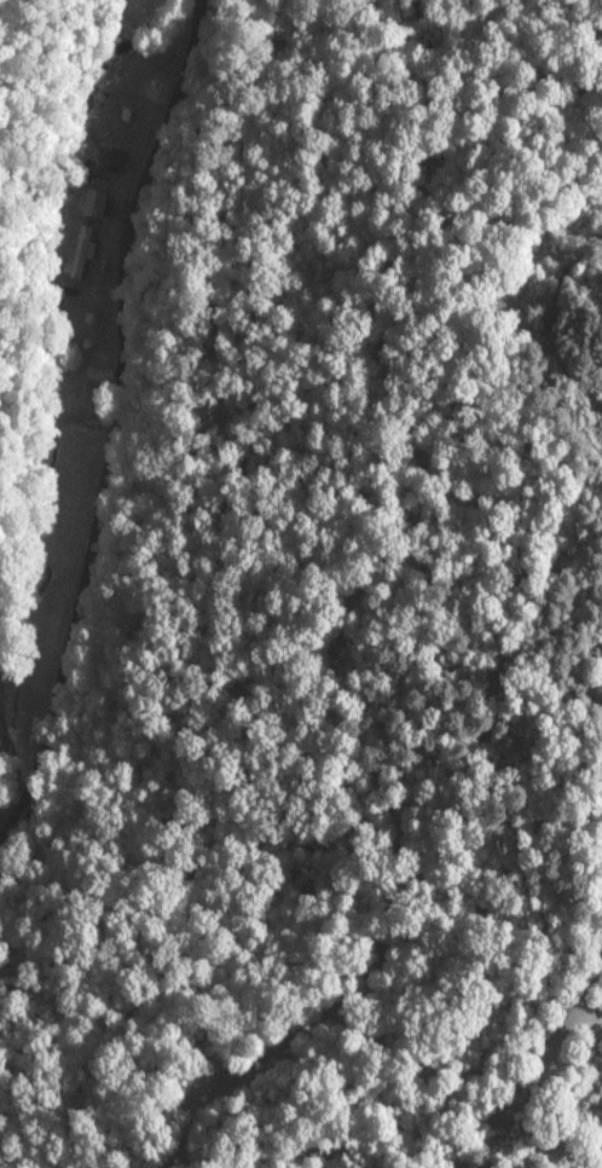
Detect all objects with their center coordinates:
building: (112, 157)
building: (81, 253)
road: (116, 424)

